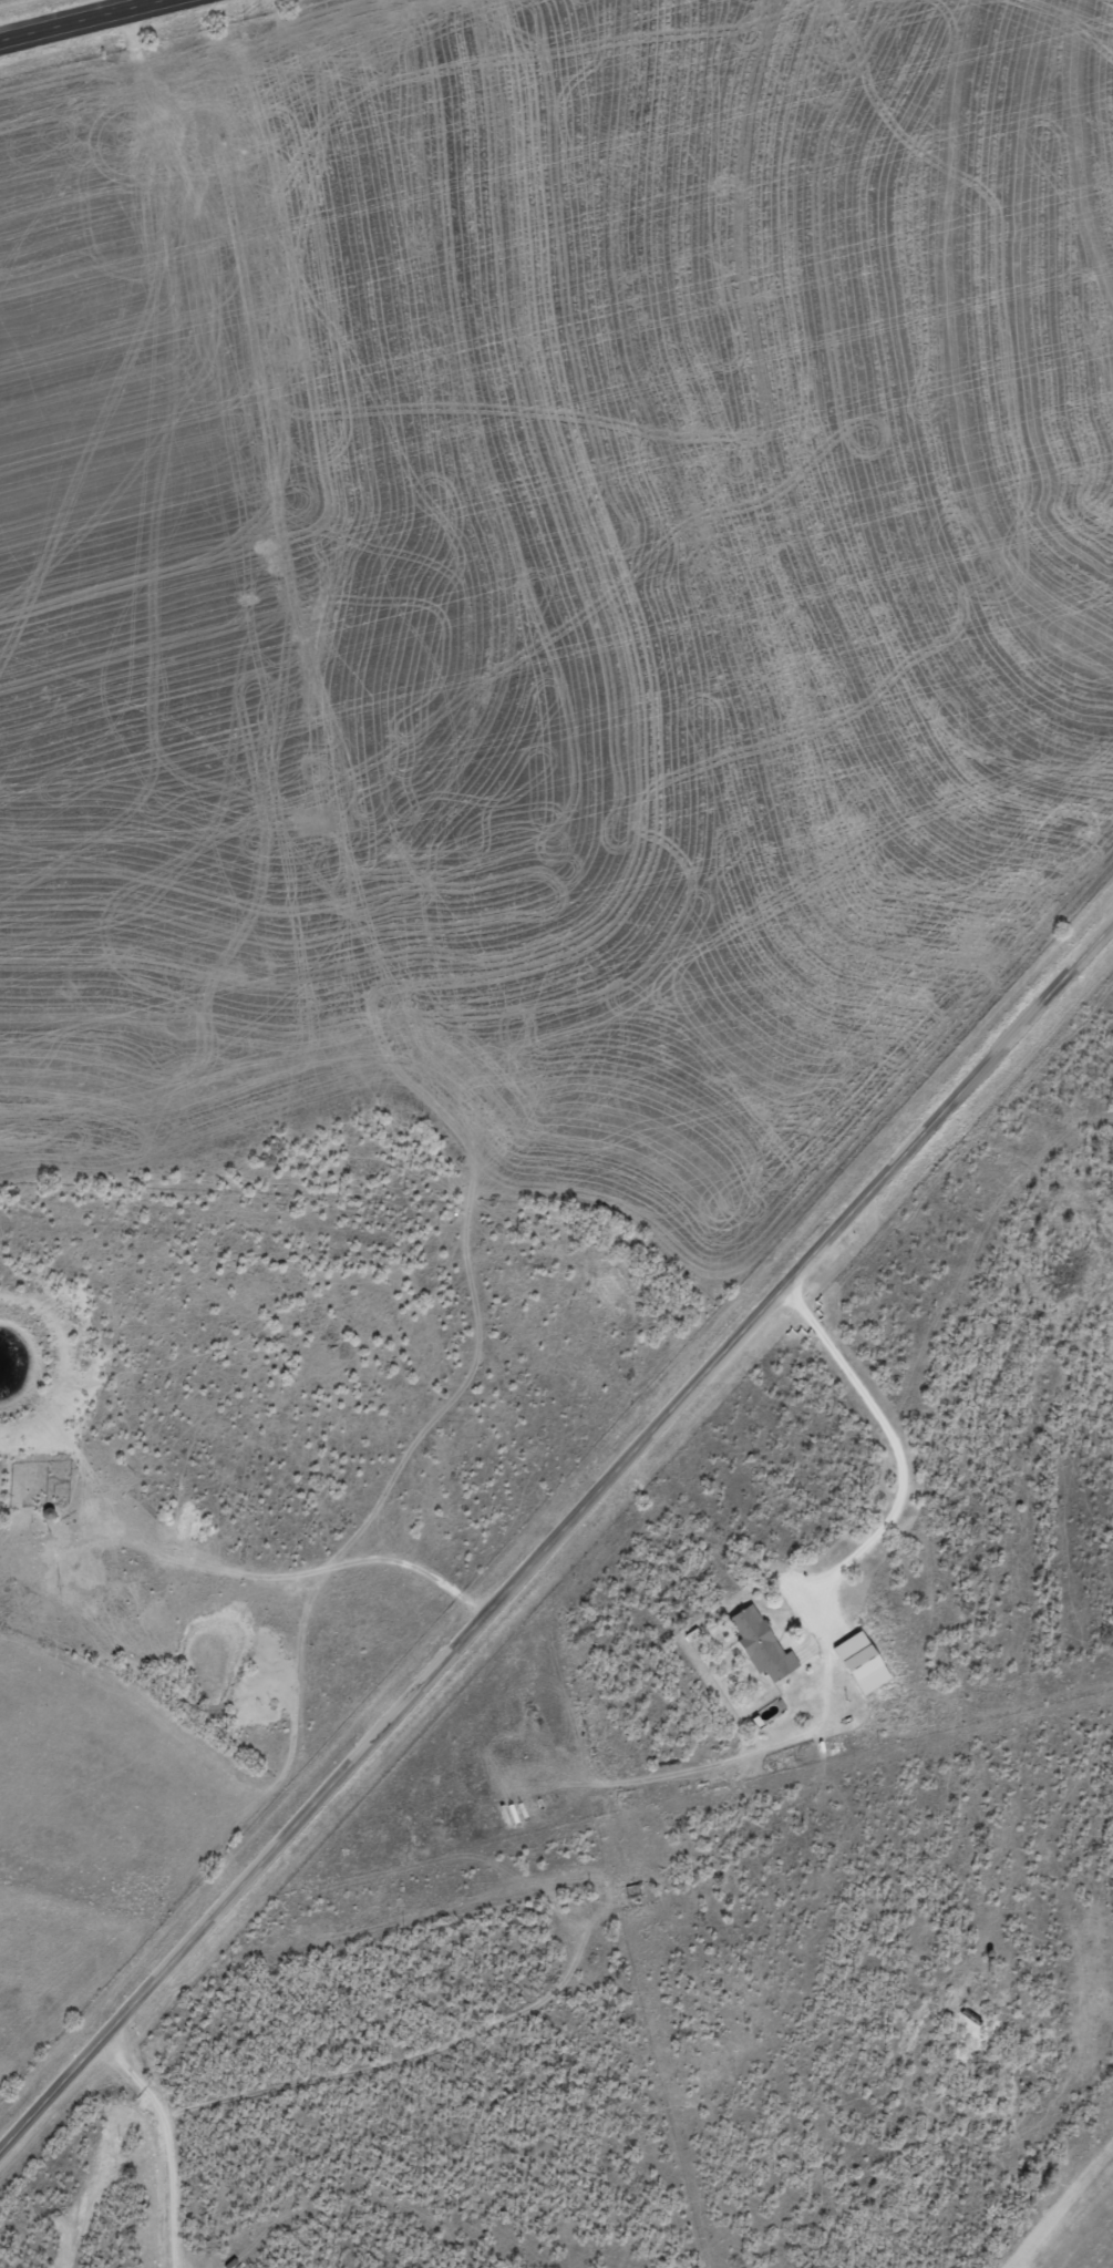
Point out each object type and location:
road: (91, 22)
road: (889, 1443)
road: (555, 1538)
building: (765, 1645)
road: (64, 2154)

